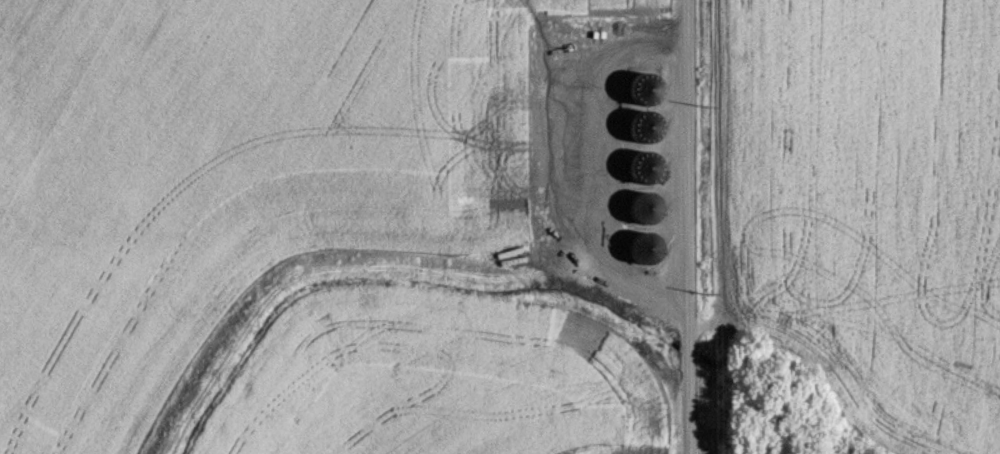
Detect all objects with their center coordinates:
building: (645, 94)
building: (645, 170)
building: (643, 209)
road: (681, 227)
building: (644, 249)

